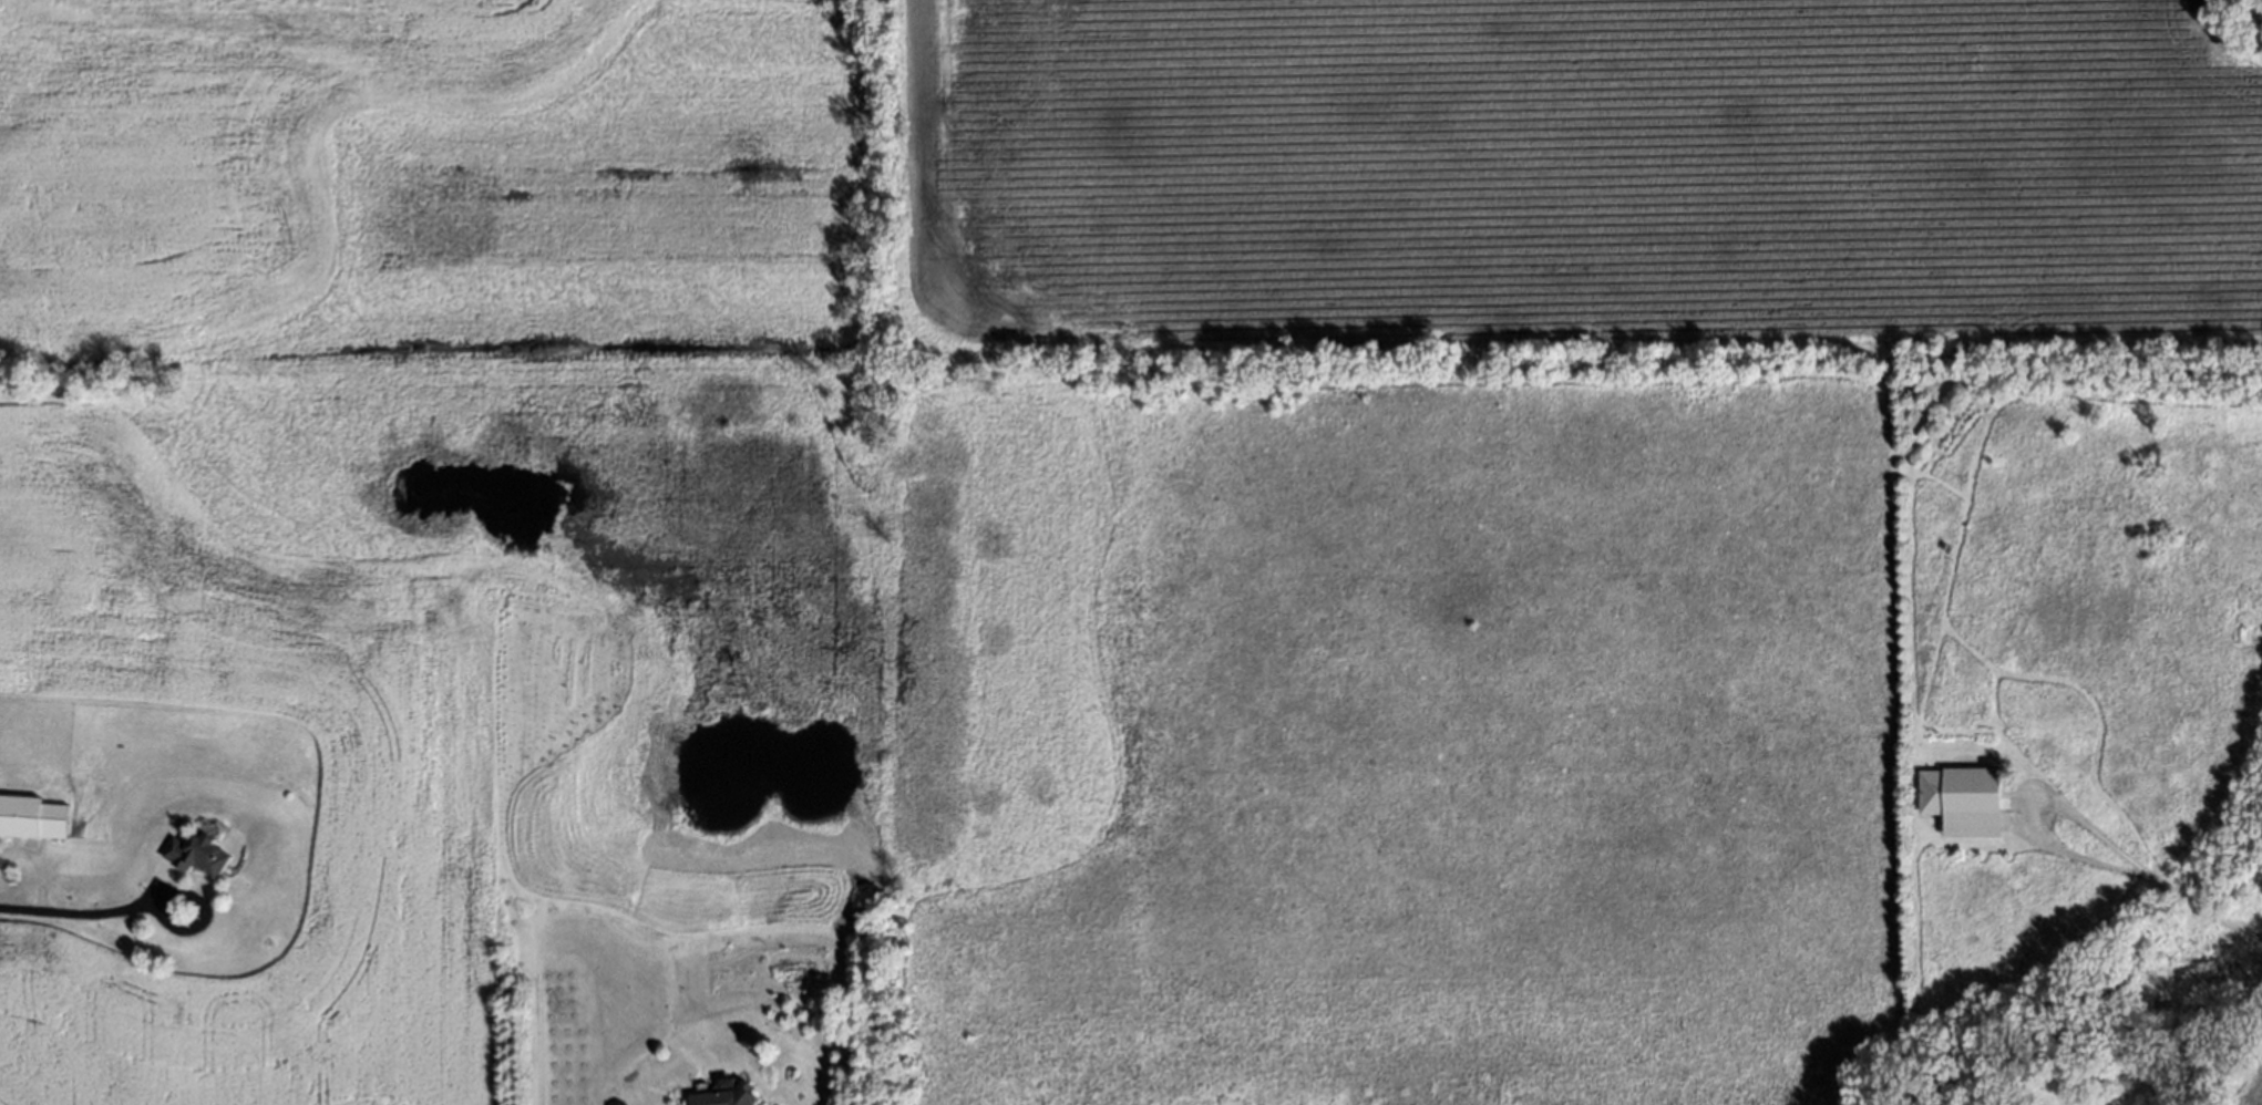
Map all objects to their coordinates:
building: (1962, 801)
road: (2034, 806)
building: (33, 814)
building: (197, 854)
road: (2200, 905)
road: (81, 915)
building: (723, 1095)

